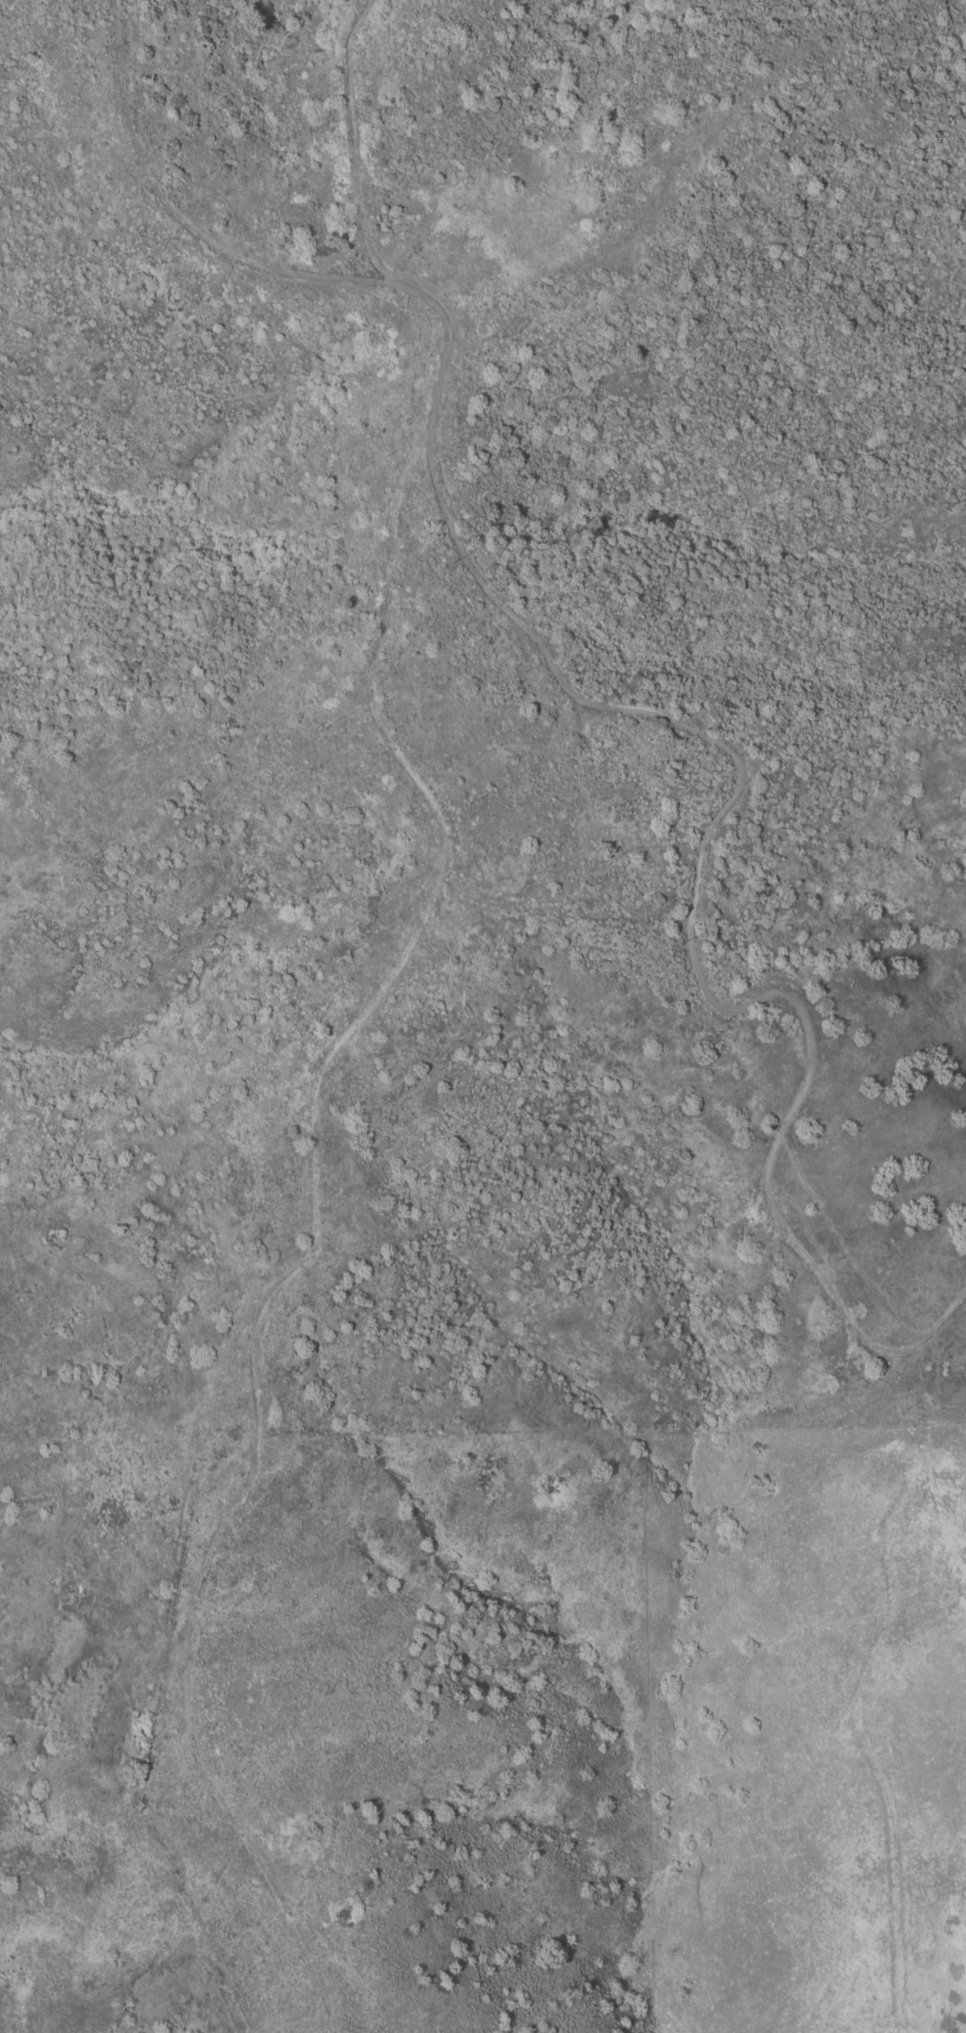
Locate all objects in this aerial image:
road: (354, 150)
road: (611, 711)
road: (315, 1222)
road: (854, 1706)

